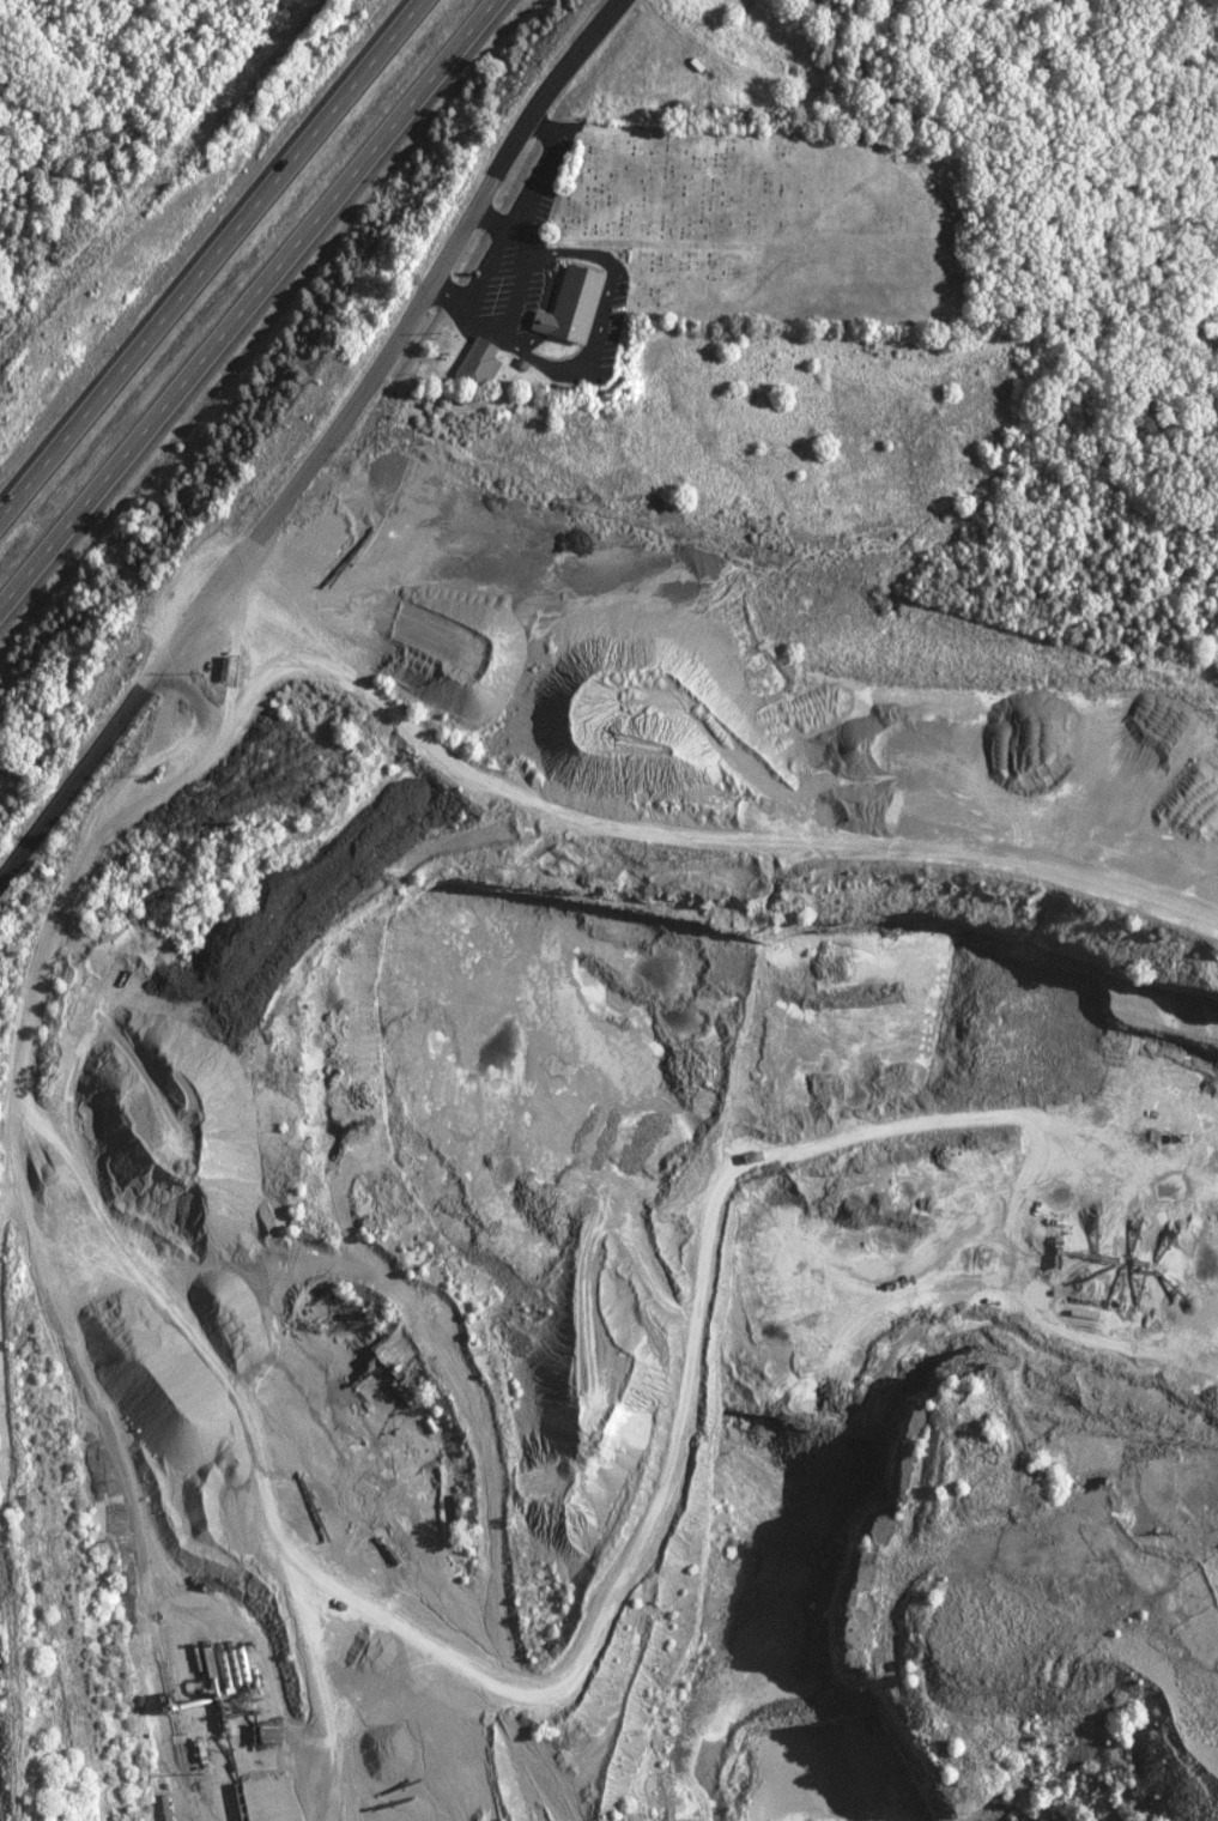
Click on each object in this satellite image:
road: (1202, 6)
road: (212, 261)
road: (246, 302)
building: (565, 305)
building: (474, 362)
road: (320, 447)

